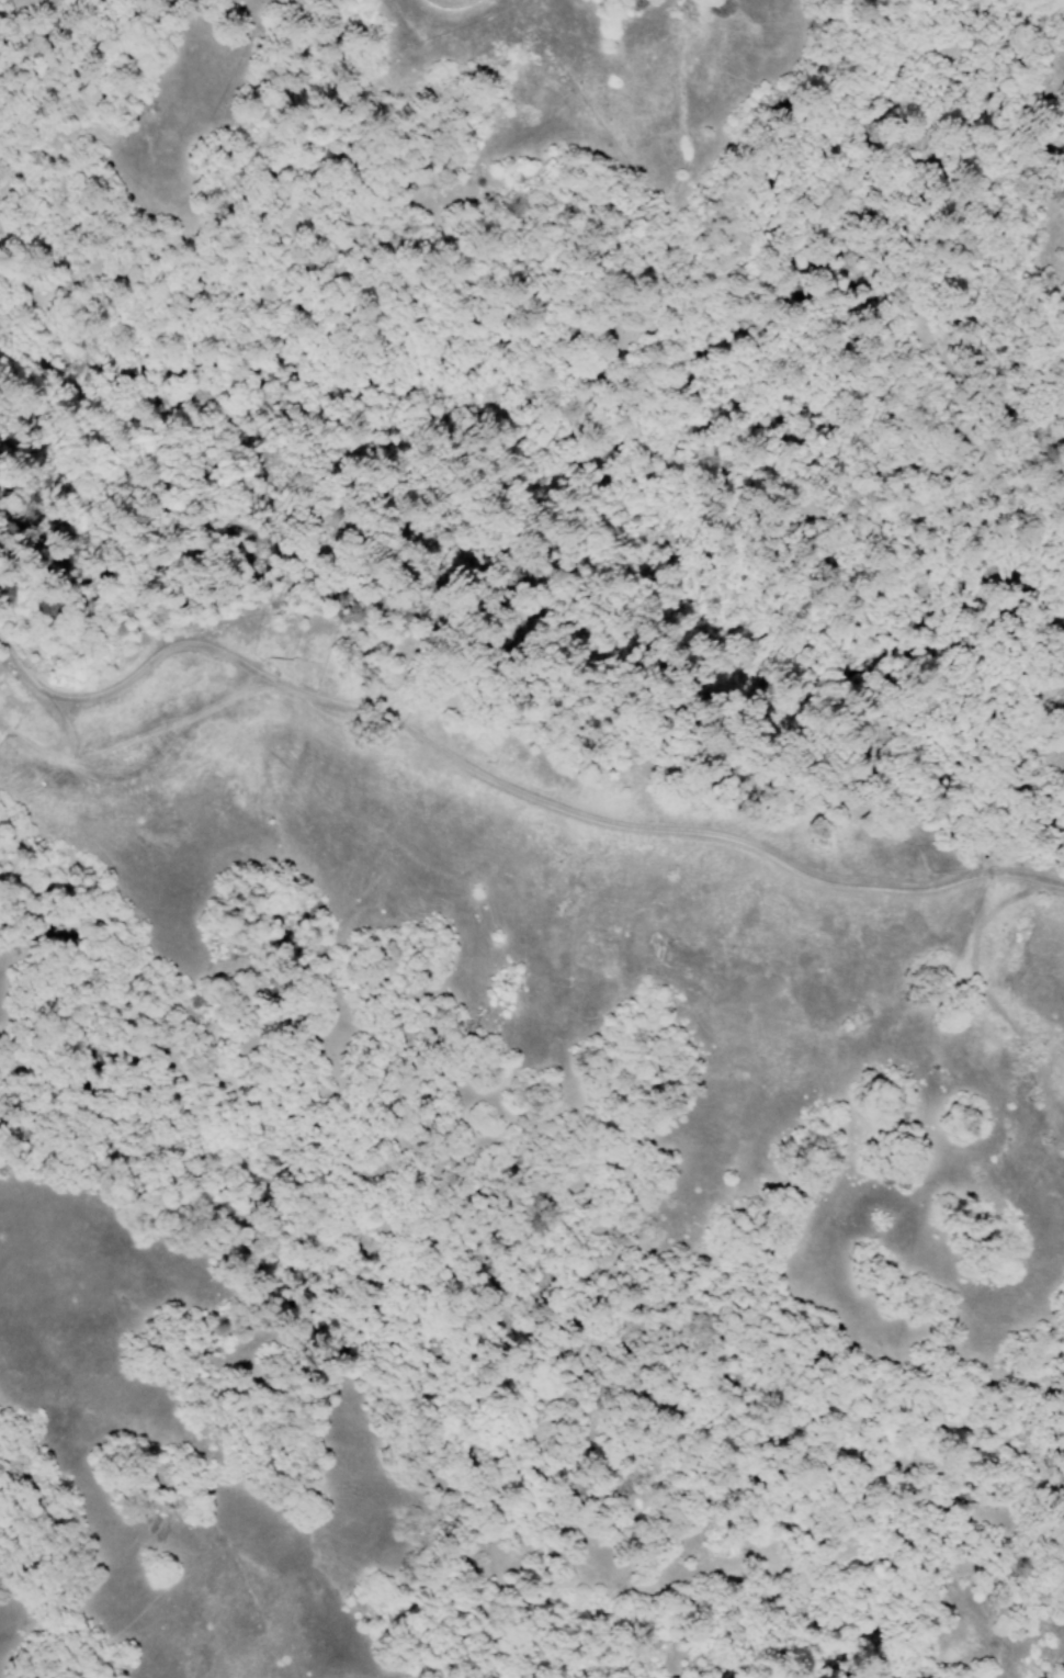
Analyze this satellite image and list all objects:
road: (536, 826)

